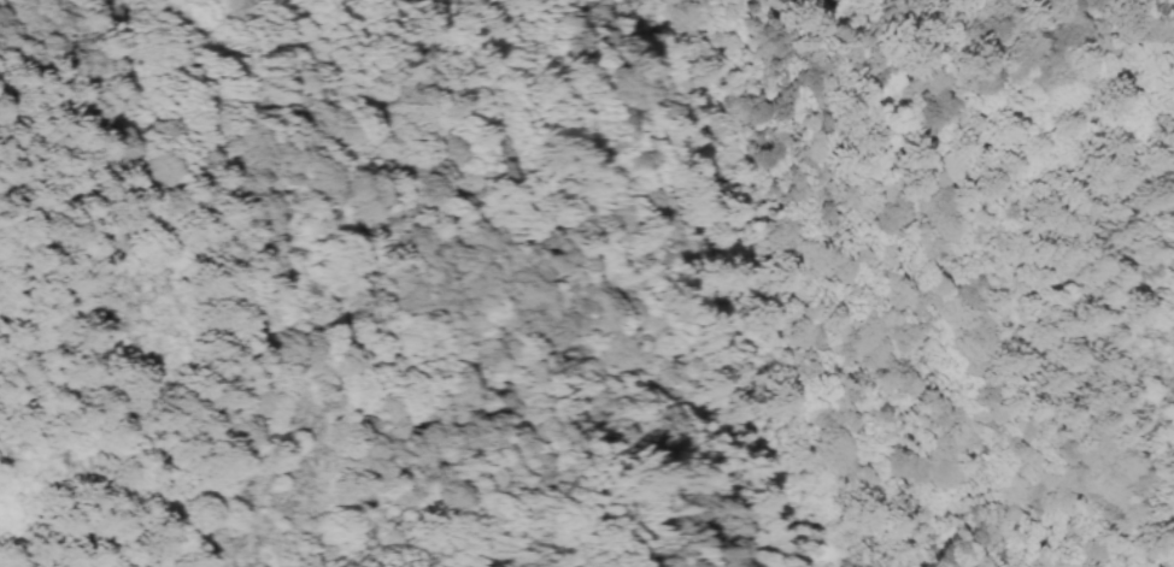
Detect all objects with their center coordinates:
road: (2, 562)

